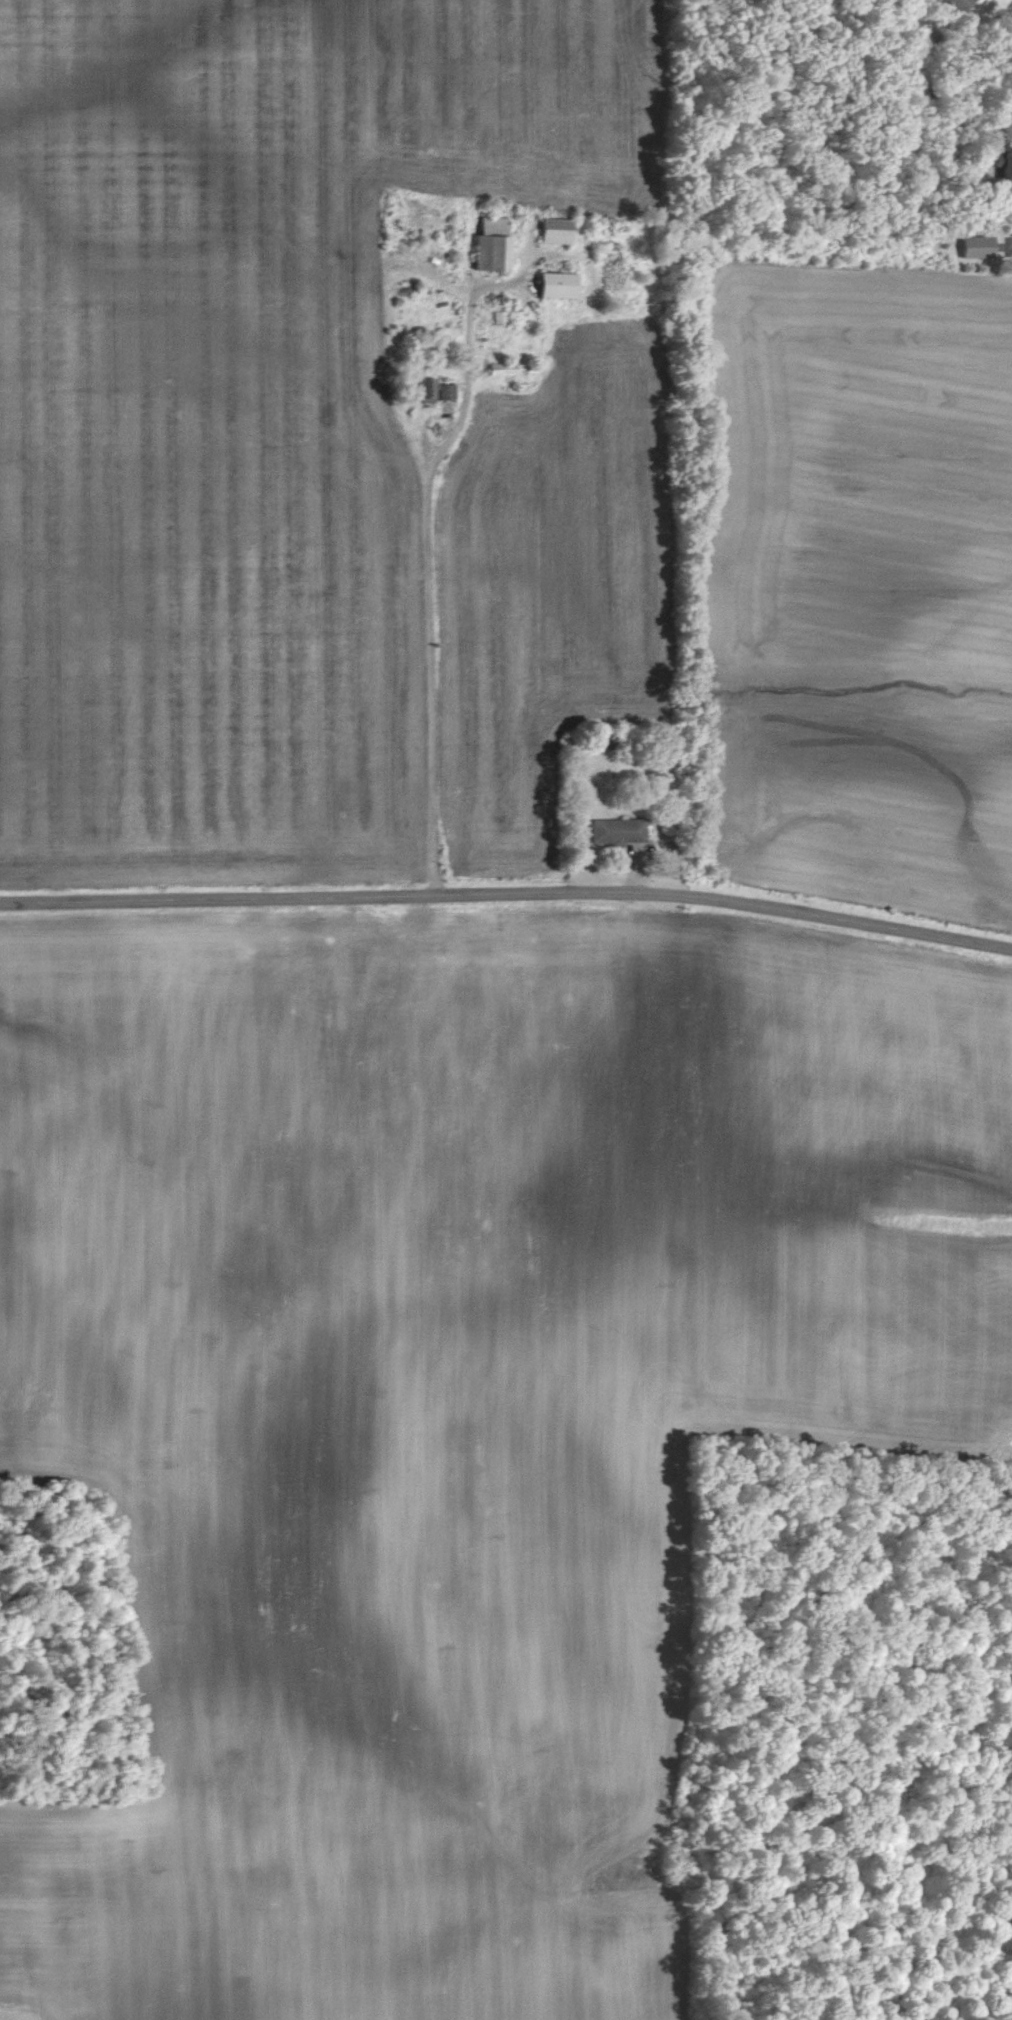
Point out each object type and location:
building: (953, 5)
building: (1005, 160)
building: (551, 231)
building: (488, 245)
building: (974, 247)
building: (552, 285)
building: (499, 369)
building: (430, 390)
road: (426, 583)
building: (614, 831)
road: (508, 894)

